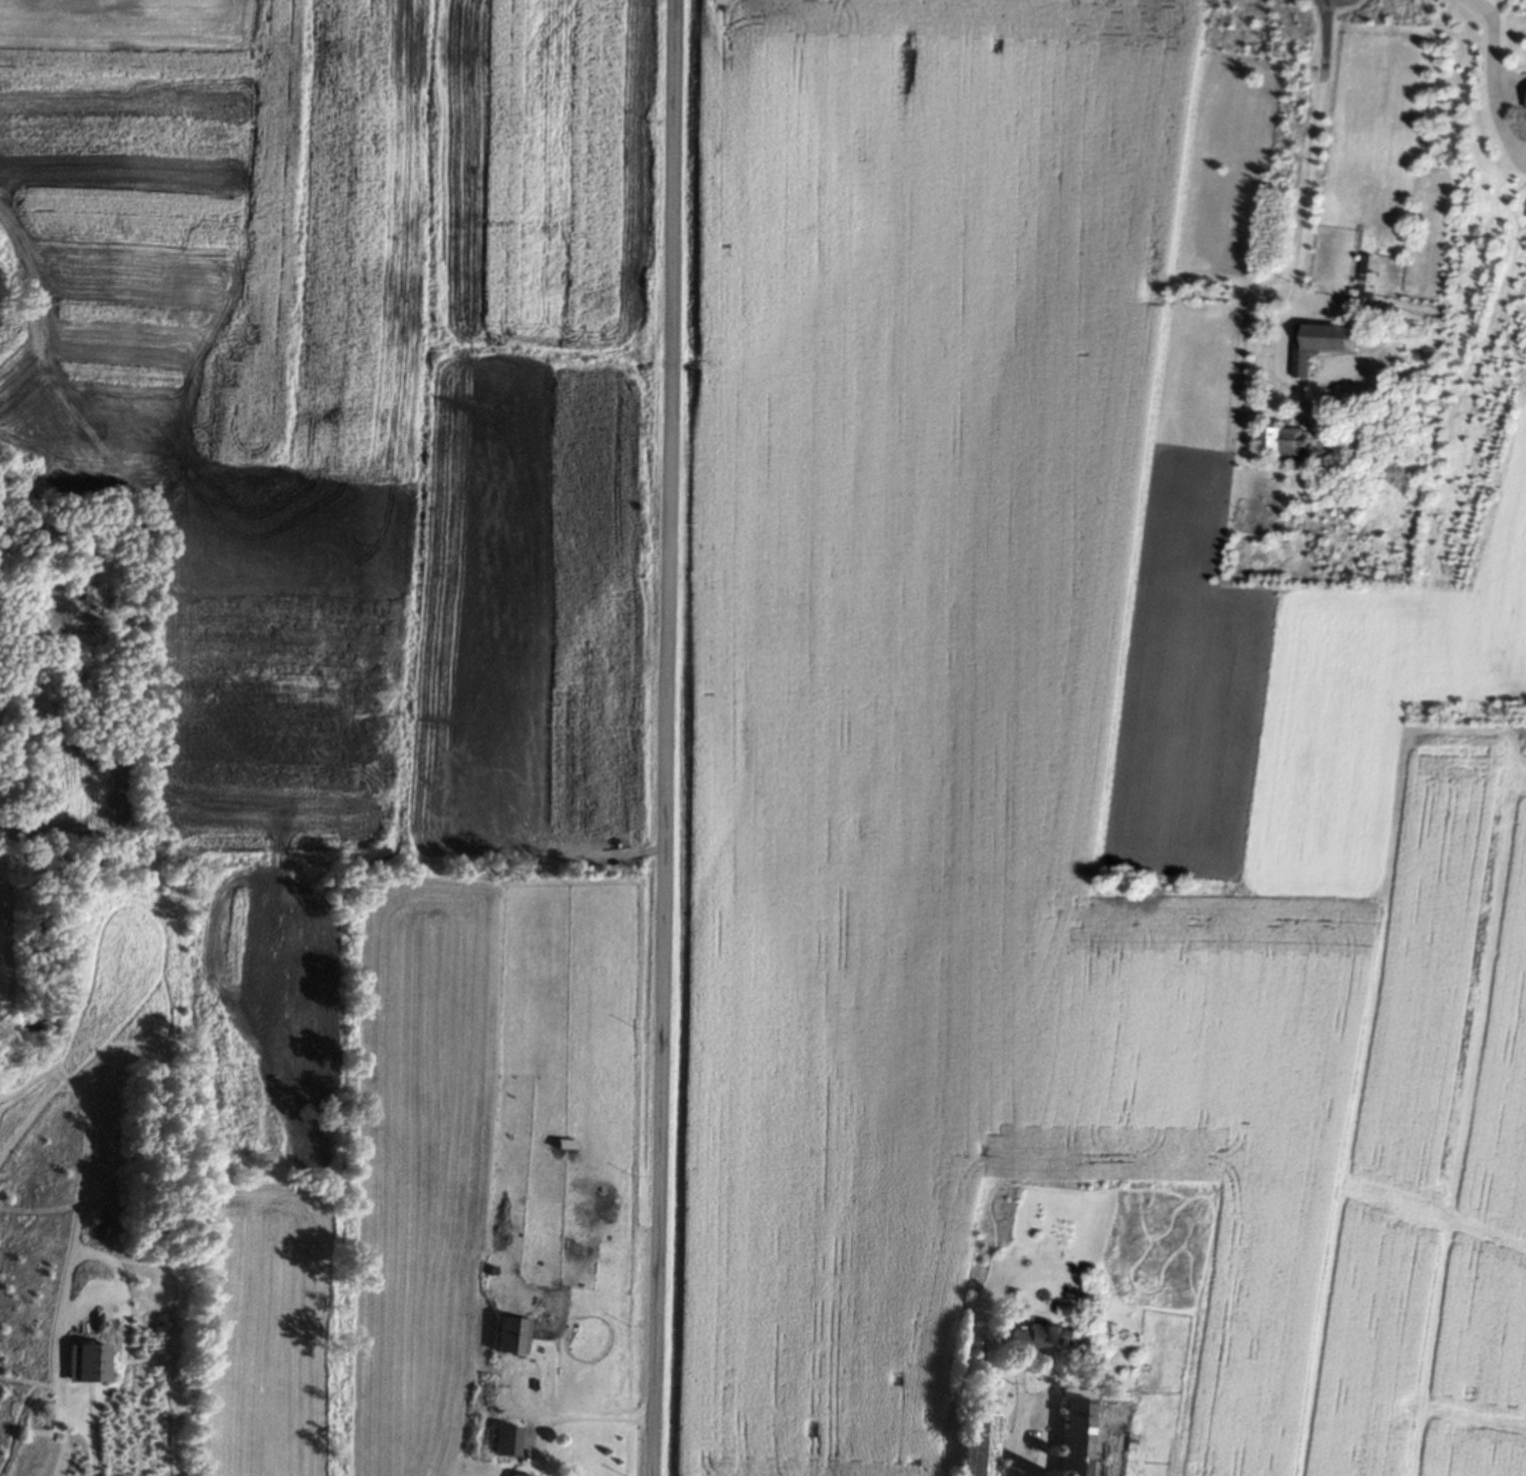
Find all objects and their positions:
road: (1492, 85)
building: (1524, 107)
road: (1308, 183)
building: (1317, 345)
building: (1282, 442)
road: (667, 738)
building: (561, 1146)
building: (506, 1337)
building: (1043, 1338)
building: (84, 1365)
road: (524, 1413)
building: (1071, 1433)
road: (1018, 1438)
building: (502, 1443)
building: (978, 1445)

